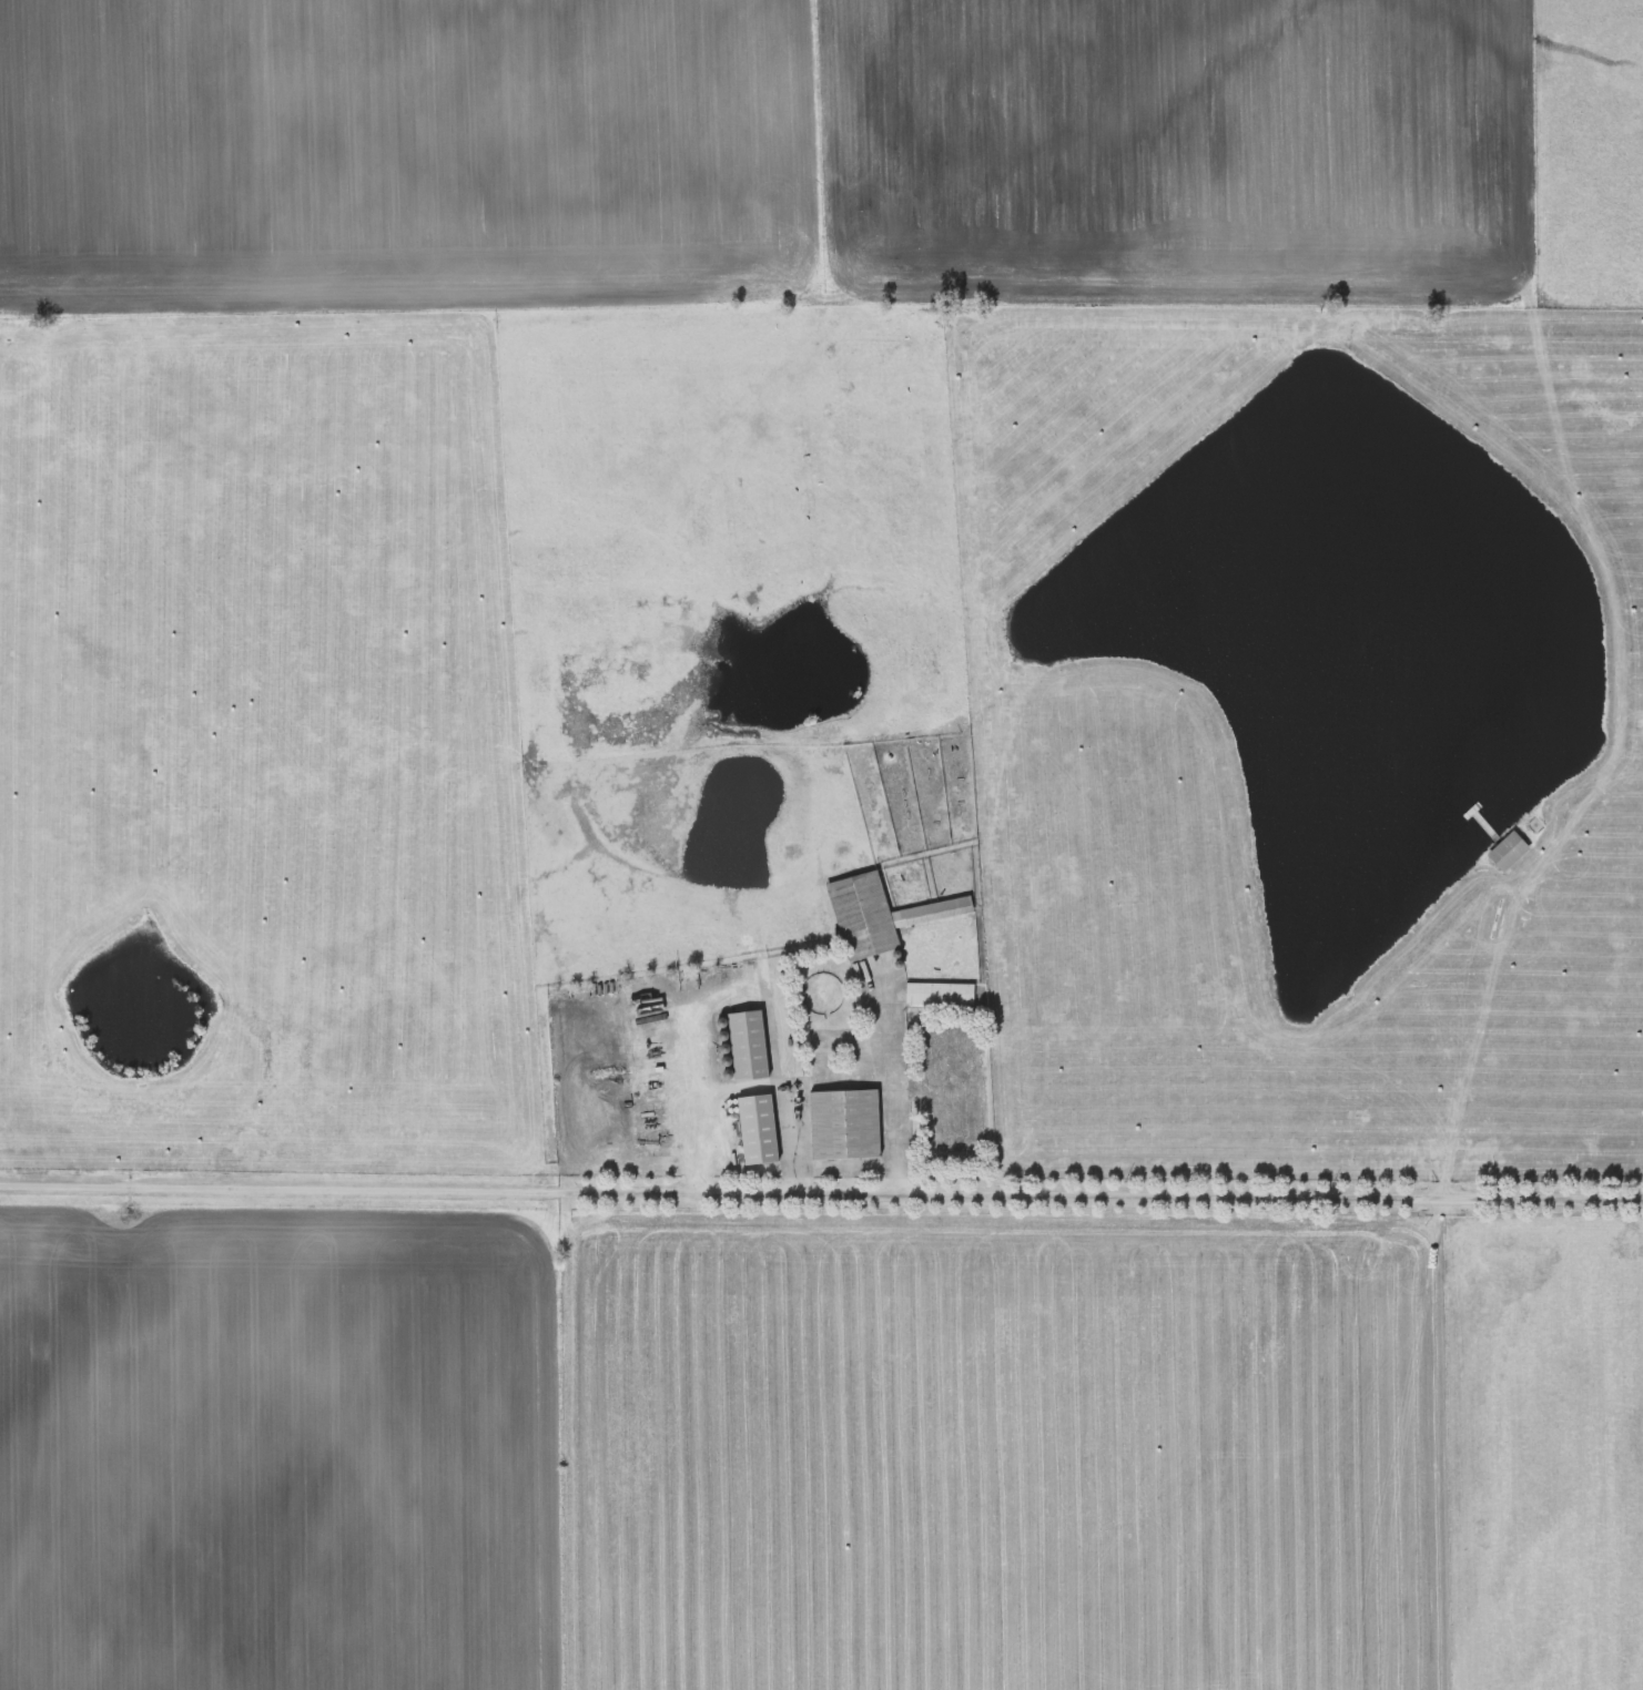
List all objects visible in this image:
building: (1507, 849)
building: (878, 915)
building: (937, 992)
road: (1475, 1038)
building: (746, 1045)
building: (946, 1077)
road: (779, 1078)
road: (891, 1083)
building: (843, 1123)
building: (755, 1128)
road: (821, 1192)

